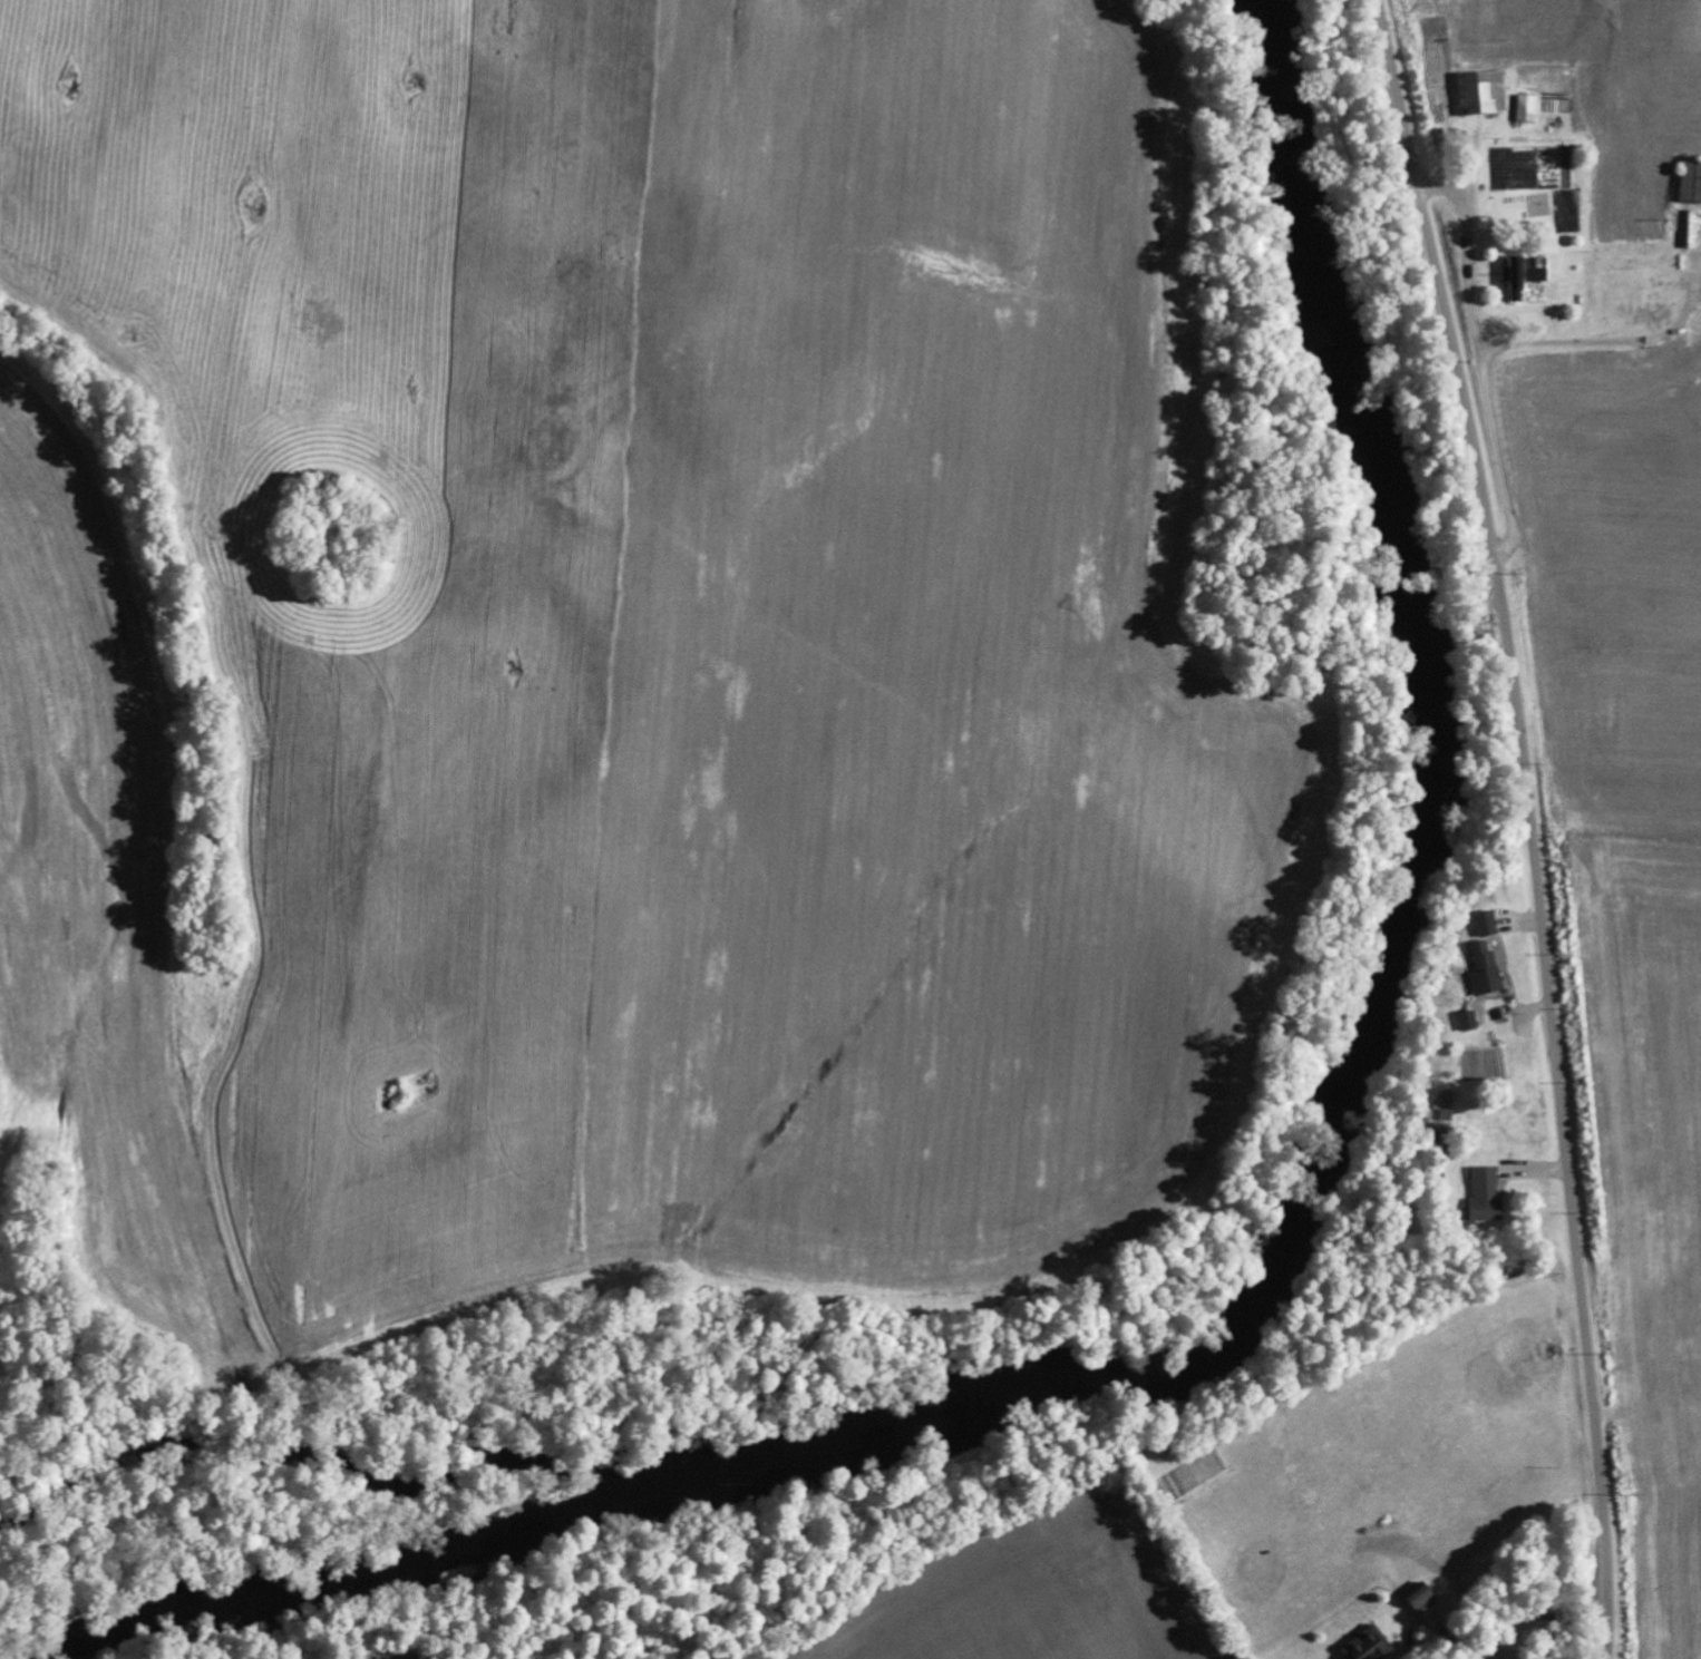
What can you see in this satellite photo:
building: (1479, 91)
building: (1525, 107)
building: (1690, 182)
building: (1522, 271)
road: (1523, 343)
road: (1532, 823)
building: (1484, 924)
building: (1483, 969)
building: (1467, 1021)
building: (1445, 1105)
river: (1257, 1255)

